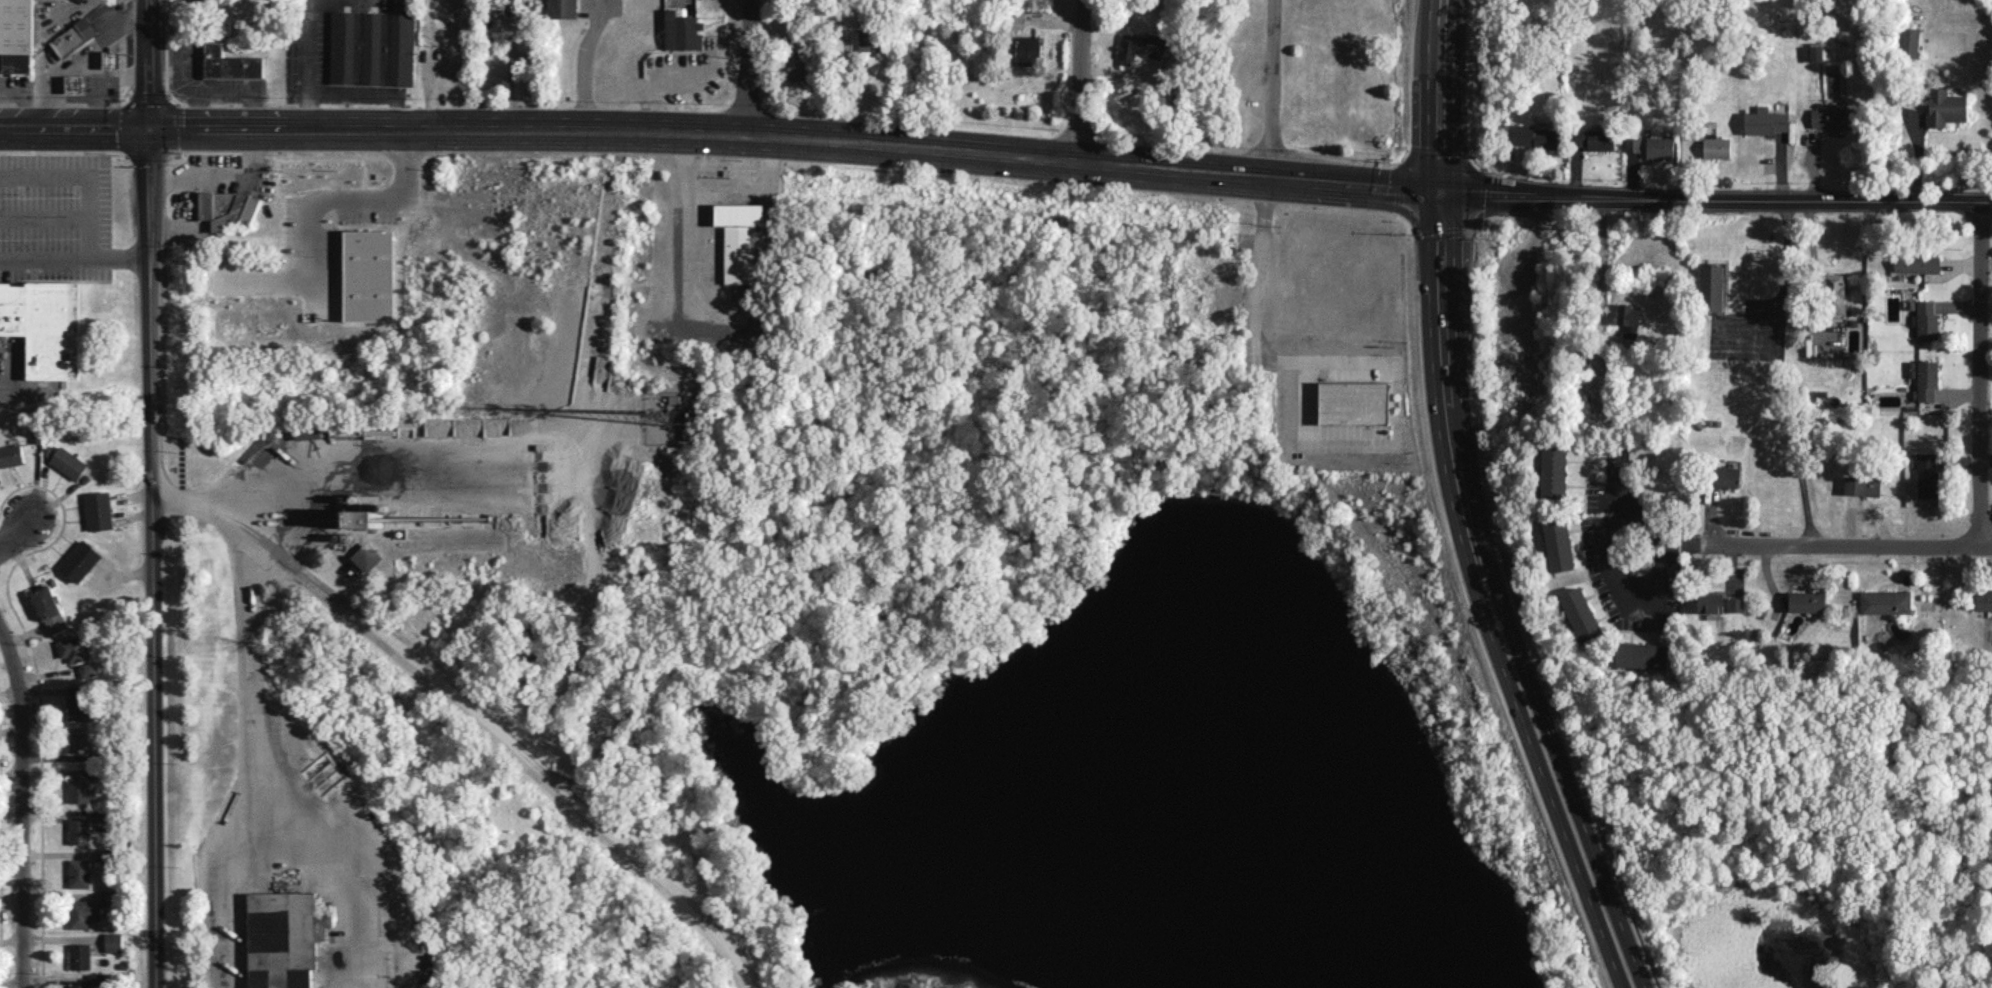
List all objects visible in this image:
building: (563, 8)
building: (1016, 18)
building: (682, 30)
building: (74, 38)
building: (1909, 42)
building: (373, 48)
building: (112, 60)
road: (148, 63)
road: (303, 63)
road: (585, 65)
road: (747, 68)
building: (799, 69)
road: (1080, 79)
road: (843, 81)
building: (76, 85)
road: (1272, 88)
building: (1945, 107)
building: (1834, 118)
building: (1765, 121)
road: (74, 126)
building: (1537, 136)
building: (1595, 138)
building: (1632, 144)
building: (1659, 146)
building: (1716, 147)
road: (1070, 158)
road: (720, 189)
road: (149, 193)
road: (340, 198)
building: (748, 214)
road: (75, 259)
road: (1601, 263)
building: (1917, 263)
road: (1815, 272)
building: (372, 275)
building: (1711, 288)
building: (1834, 292)
road: (1782, 302)
building: (1926, 319)
building: (44, 324)
road: (1255, 332)
road: (1979, 374)
building: (1927, 379)
building: (308, 430)
road: (1794, 442)
road: (342, 450)
building: (68, 462)
building: (1725, 476)
road: (1628, 485)
building: (1862, 485)
road: (1466, 507)
building: (98, 510)
building: (391, 517)
road: (26, 523)
building: (1558, 544)
road: (1836, 544)
building: (365, 556)
building: (80, 560)
road: (1615, 577)
building: (1983, 598)
building: (1806, 601)
building: (1885, 601)
building: (1709, 602)
building: (1735, 604)
building: (49, 609)
building: (1580, 613)
road: (152, 623)
building: (74, 649)
building: (1642, 654)
road: (242, 664)
building: (88, 669)
building: (78, 702)
road: (469, 711)
building: (78, 739)
building: (81, 790)
road: (21, 803)
building: (103, 814)
building: (79, 830)
road: (356, 865)
building: (79, 873)
road: (208, 894)
building: (110, 898)
building: (83, 912)
building: (283, 938)
building: (113, 941)
building: (80, 955)
building: (97, 978)
building: (80, 986)
road: (626, 986)

